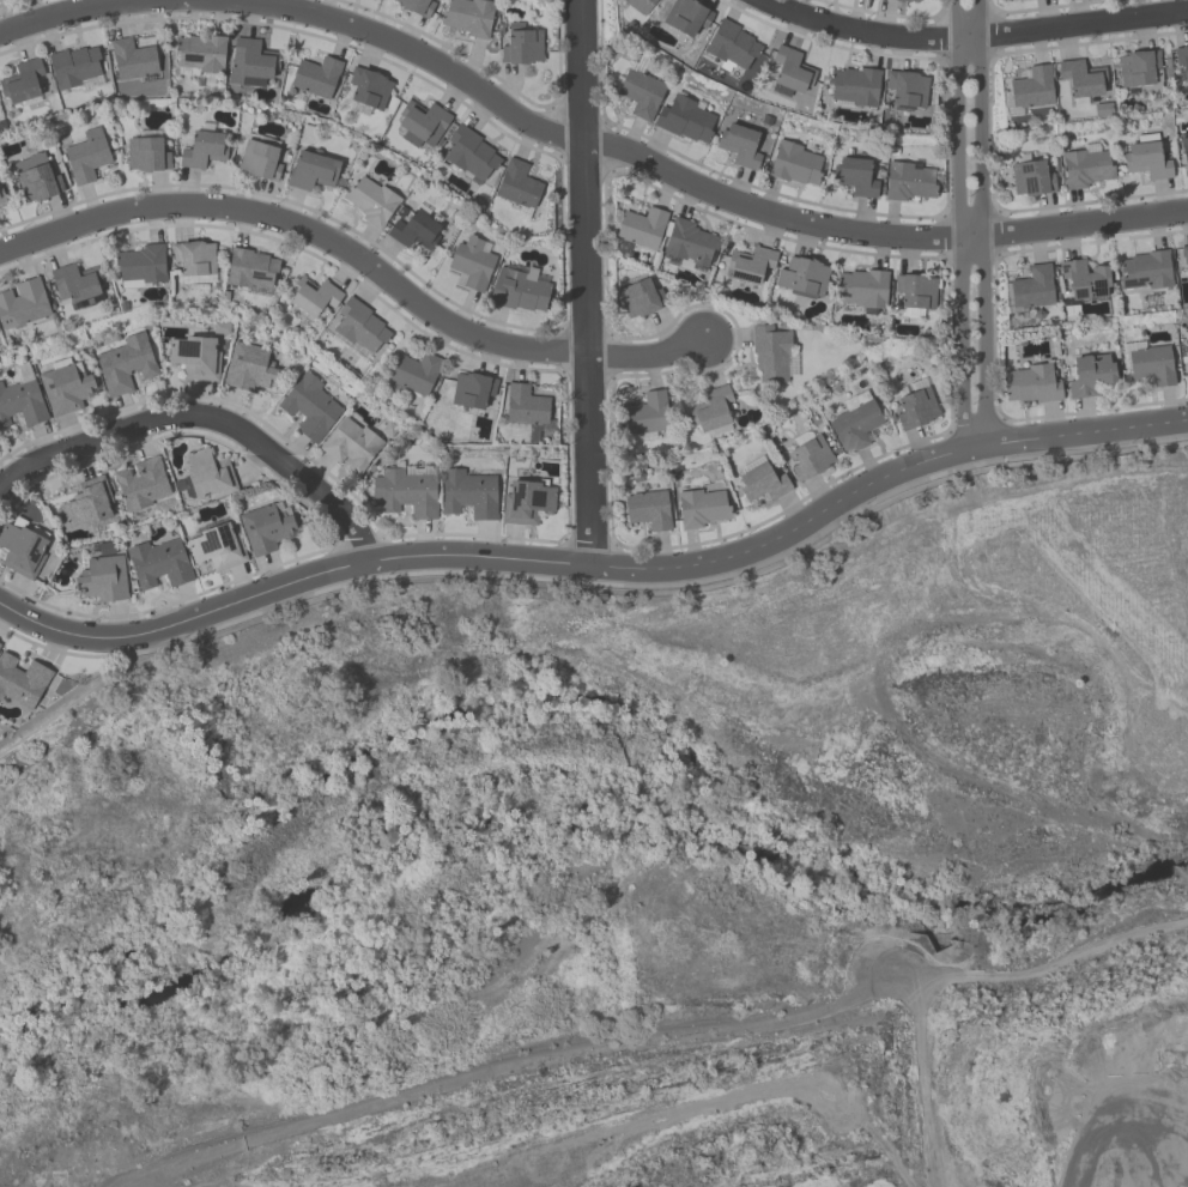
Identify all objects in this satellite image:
building: (907, 1)
building: (416, 6)
building: (642, 6)
road: (77, 8)
building: (469, 18)
building: (687, 19)
road: (975, 37)
building: (733, 47)
building: (522, 49)
building: (200, 56)
building: (1181, 57)
building: (134, 60)
building: (251, 63)
building: (77, 69)
building: (1141, 73)
building: (792, 77)
building: (317, 78)
building: (1083, 80)
building: (24, 84)
building: (854, 87)
building: (370, 89)
building: (1034, 89)
building: (908, 91)
building: (642, 95)
building: (687, 120)
building: (424, 123)
building: (741, 146)
building: (202, 149)
building: (1184, 155)
building: (147, 156)
building: (472, 156)
building: (87, 159)
building: (1148, 159)
building: (261, 161)
building: (798, 165)
building: (1087, 168)
building: (313, 171)
building: (856, 176)
building: (37, 178)
building: (1032, 178)
road: (685, 180)
building: (911, 182)
building: (519, 186)
building: (2, 192)
building: (371, 201)
road: (981, 223)
road: (960, 224)
building: (643, 229)
building: (418, 230)
building: (692, 244)
building: (1184, 256)
building: (195, 262)
road: (359, 262)
building: (473, 264)
building: (751, 266)
building: (141, 267)
building: (251, 272)
building: (1145, 272)
building: (805, 277)
building: (1085, 281)
road: (587, 283)
building: (77, 286)
building: (862, 289)
building: (1034, 290)
building: (520, 291)
building: (916, 293)
building: (315, 297)
building: (641, 298)
building: (23, 307)
building: (360, 328)
building: (772, 355)
building: (195, 358)
building: (1150, 364)
building: (126, 365)
building: (254, 369)
building: (1187, 371)
building: (416, 374)
building: (1092, 375)
building: (1034, 384)
building: (67, 388)
building: (473, 389)
building: (22, 400)
building: (313, 408)
building: (916, 408)
building: (528, 410)
building: (713, 413)
building: (649, 416)
road: (206, 418)
building: (855, 425)
road: (1083, 434)
building: (353, 447)
building: (810, 456)
building: (210, 476)
building: (764, 483)
building: (143, 485)
building: (408, 493)
building: (469, 495)
building: (528, 501)
building: (704, 507)
building: (89, 508)
building: (649, 511)
building: (268, 529)
building: (218, 547)
building: (23, 549)
road: (493, 558)
building: (160, 565)
building: (103, 581)
road: (587, 589)
building: (0, 643)
building: (24, 682)

